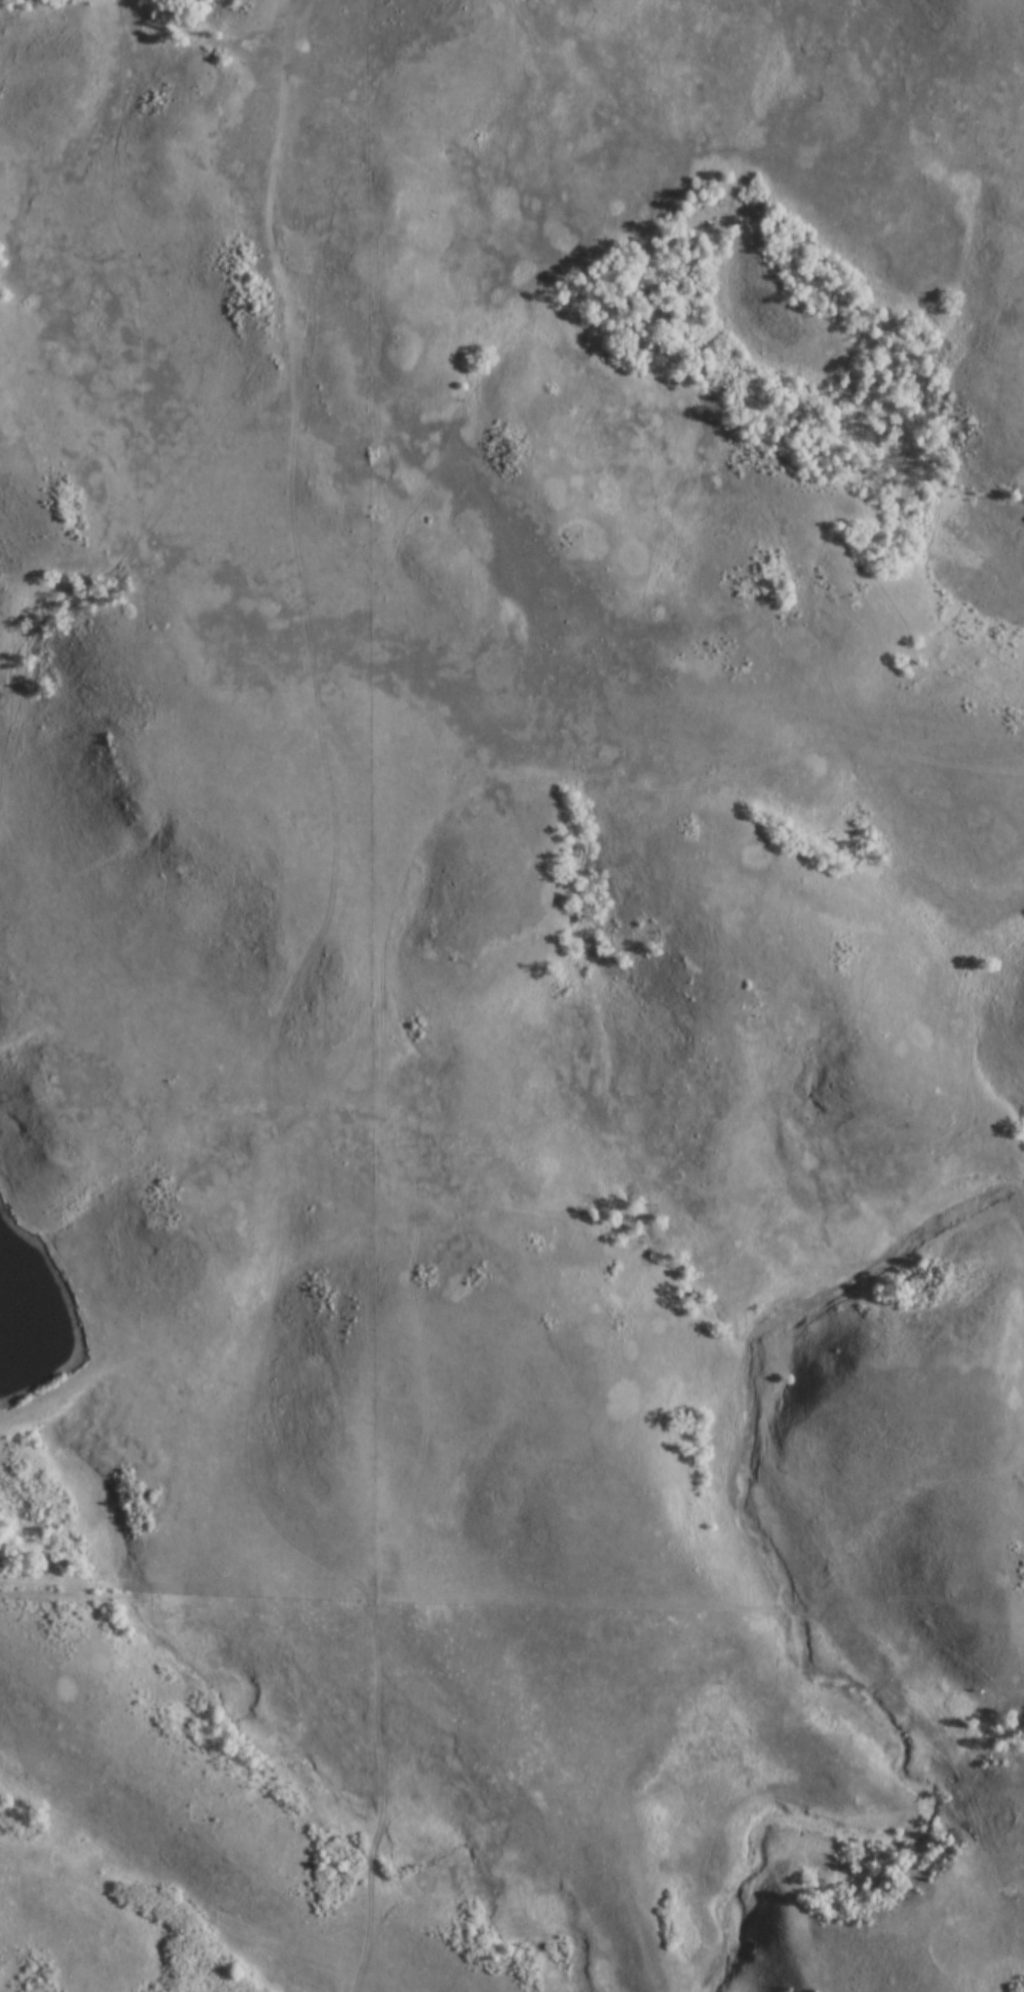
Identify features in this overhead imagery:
road: (363, 1833)

